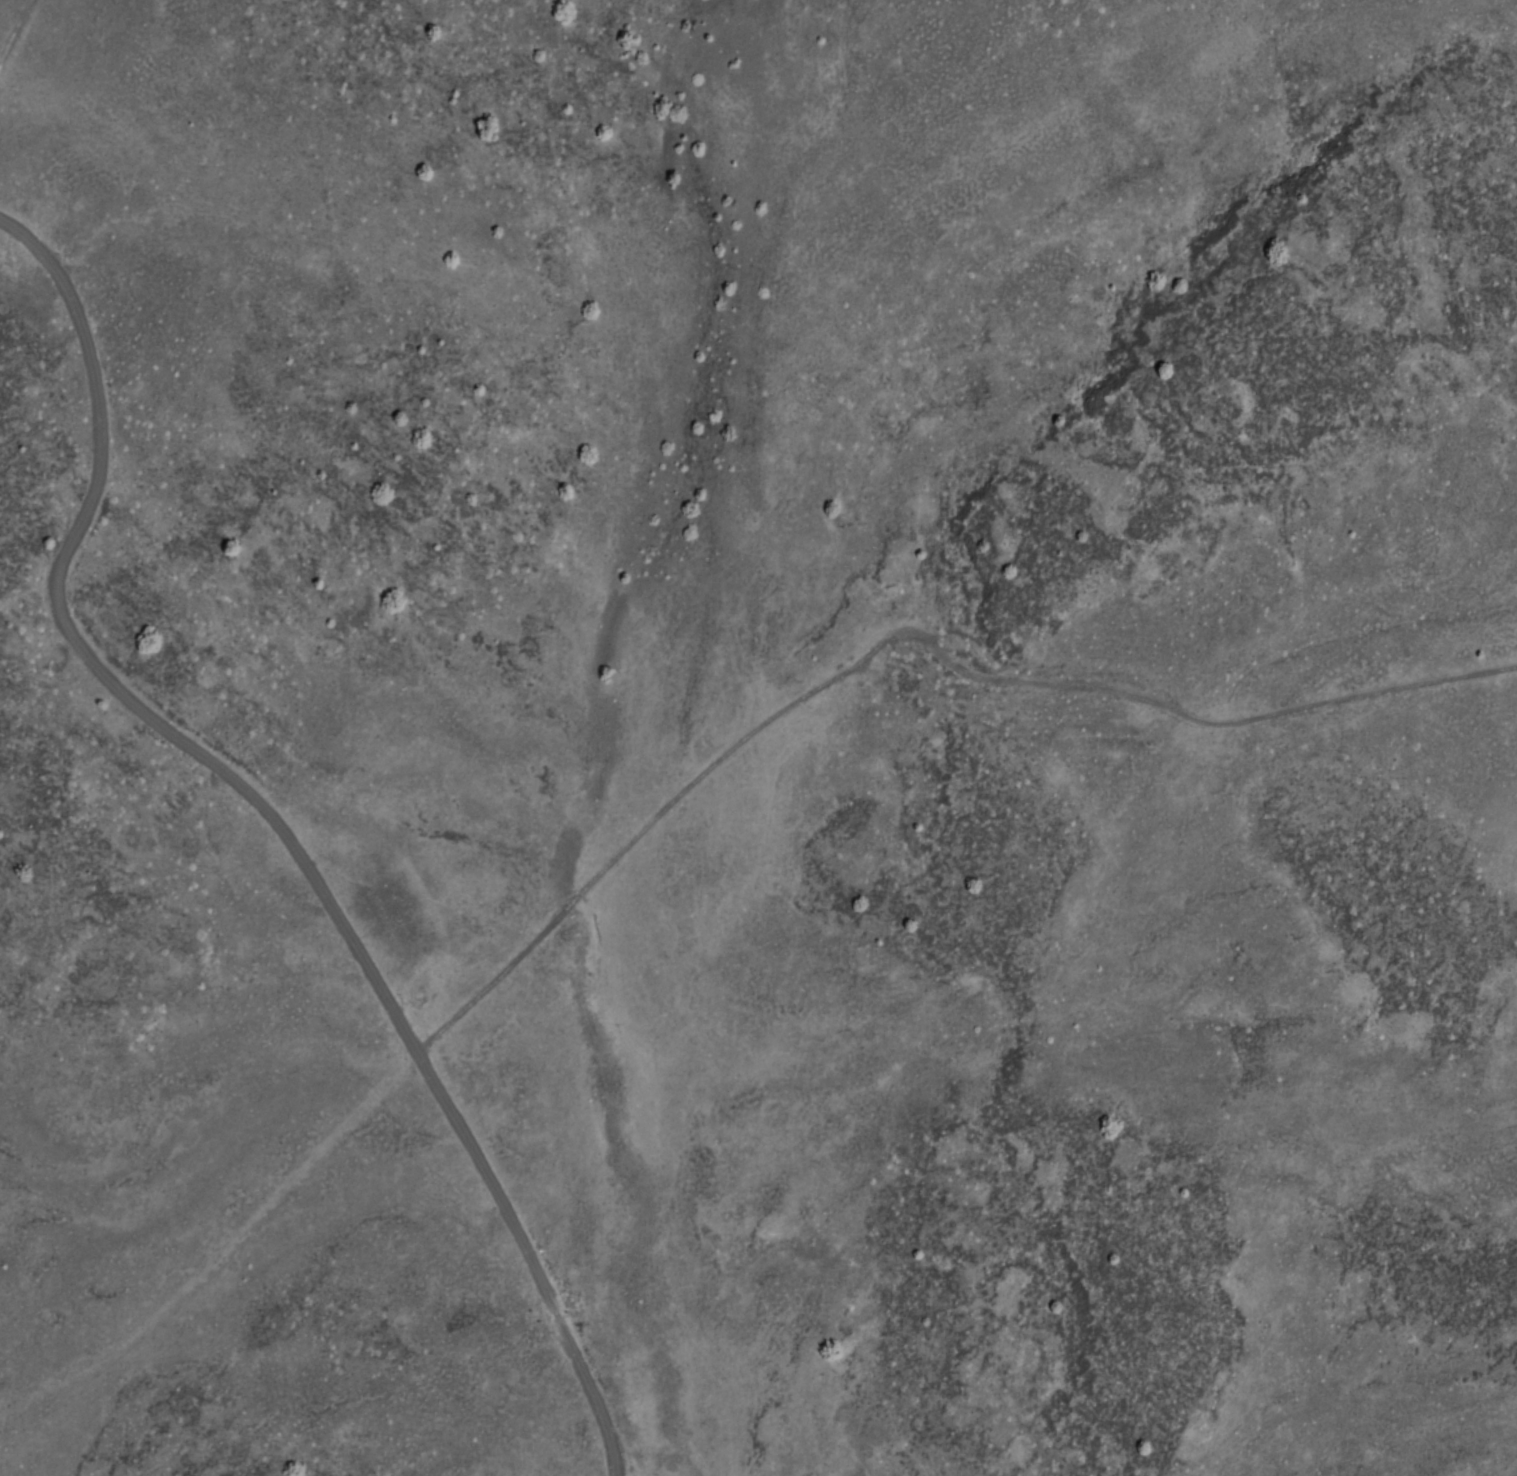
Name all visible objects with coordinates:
road: (15, 35)
road: (678, 796)

